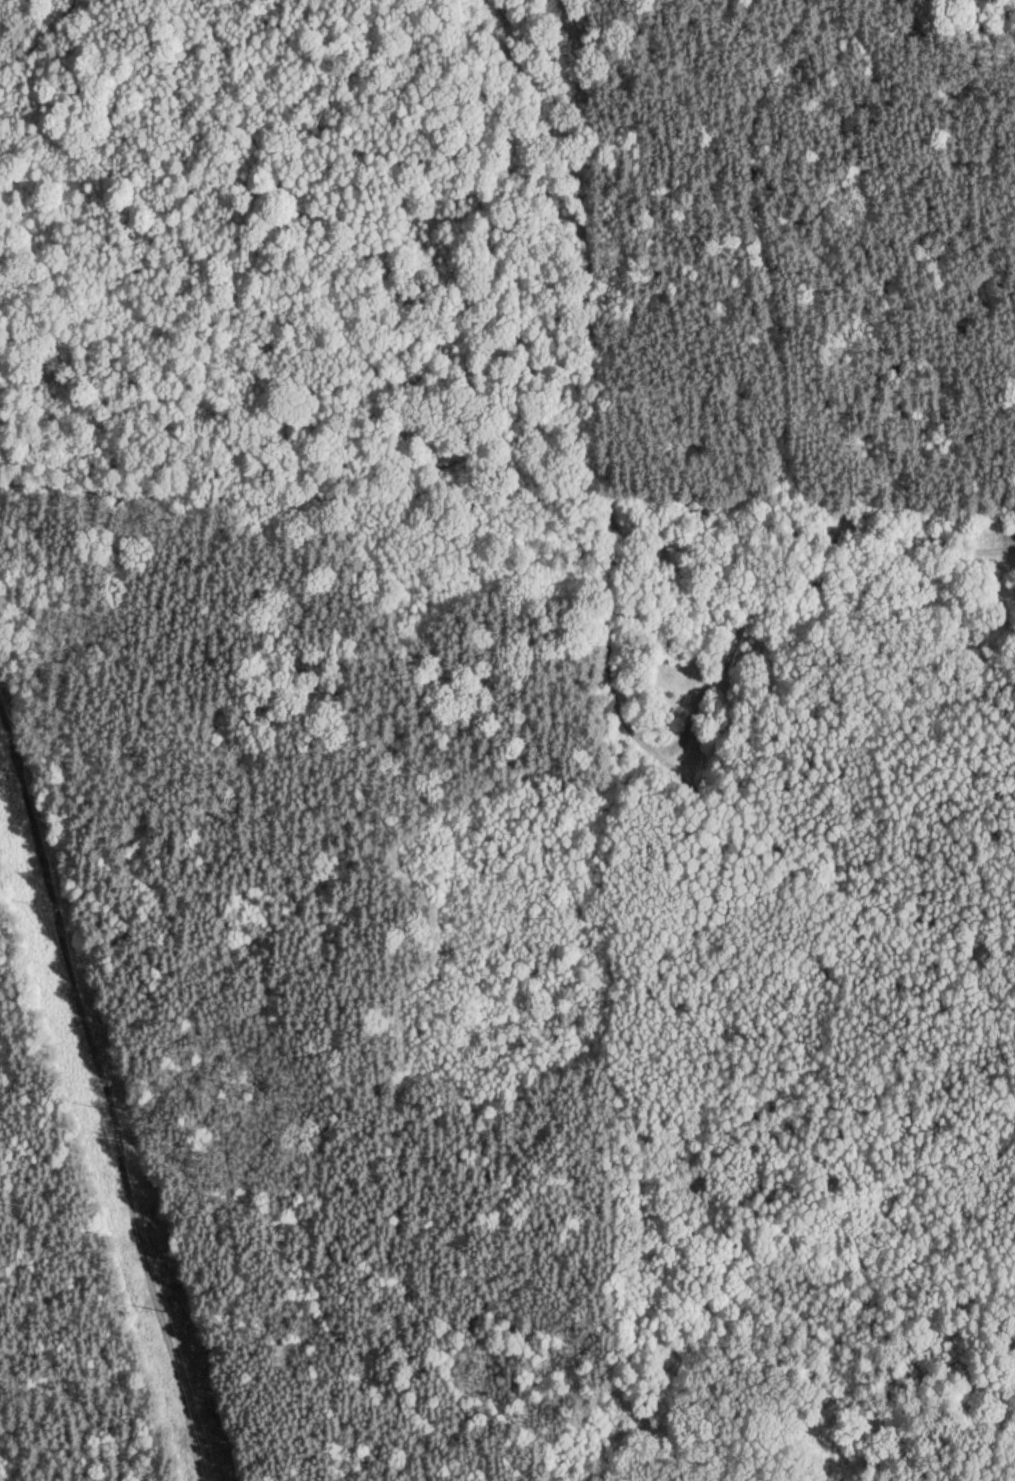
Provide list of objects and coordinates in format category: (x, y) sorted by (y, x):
road: (593, 486)
road: (787, 498)
road: (898, 537)
road: (964, 823)
road: (105, 1097)

